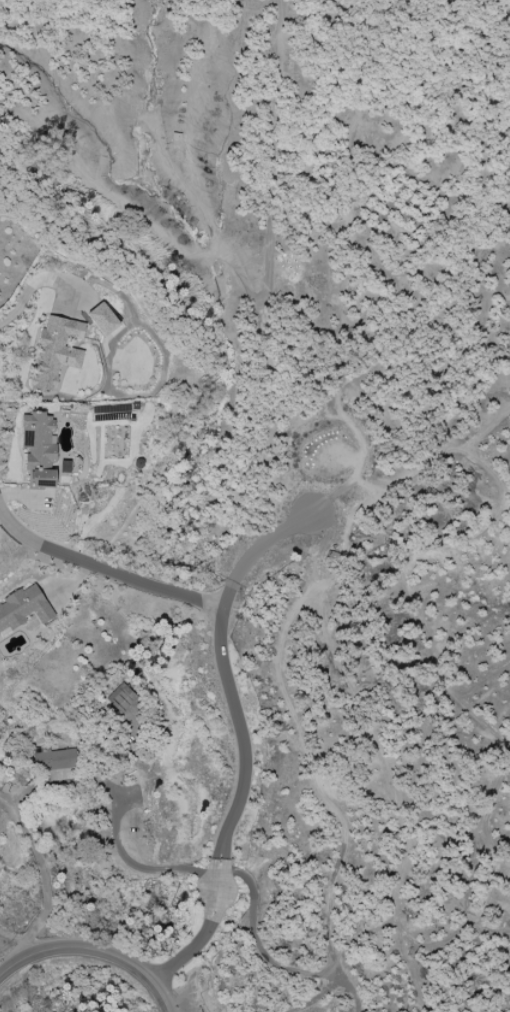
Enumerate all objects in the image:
road: (36, 281)
building: (102, 319)
building: (55, 351)
building: (38, 450)
building: (64, 467)
road: (103, 568)
building: (23, 608)
road: (224, 667)
building: (120, 698)
building: (54, 759)
road: (63, 783)
road: (138, 867)
road: (221, 869)
road: (45, 880)
road: (198, 943)
road: (87, 958)

